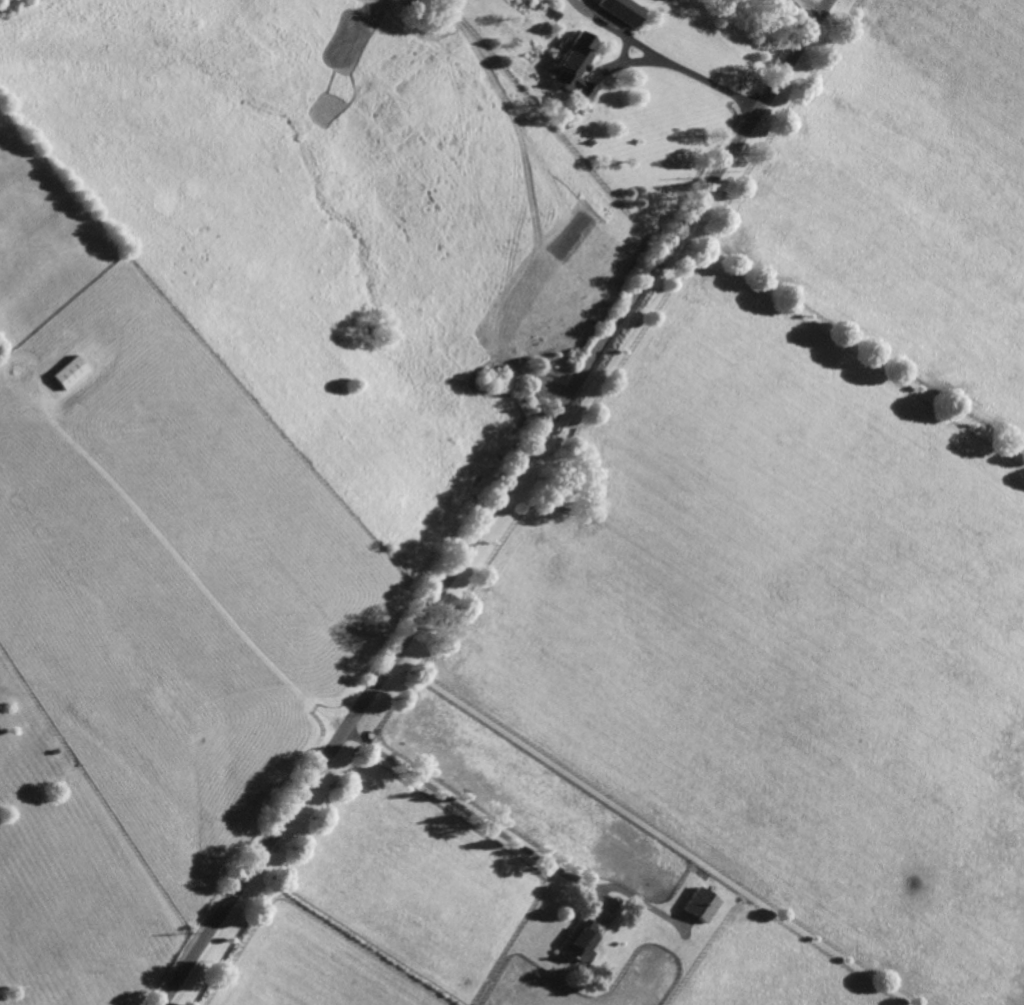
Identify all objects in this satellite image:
road: (813, 7)
building: (621, 10)
building: (556, 13)
road: (602, 20)
road: (628, 60)
building: (574, 65)
road: (703, 78)
building: (67, 372)
road: (498, 503)
road: (468, 812)
building: (697, 904)
building: (579, 942)

